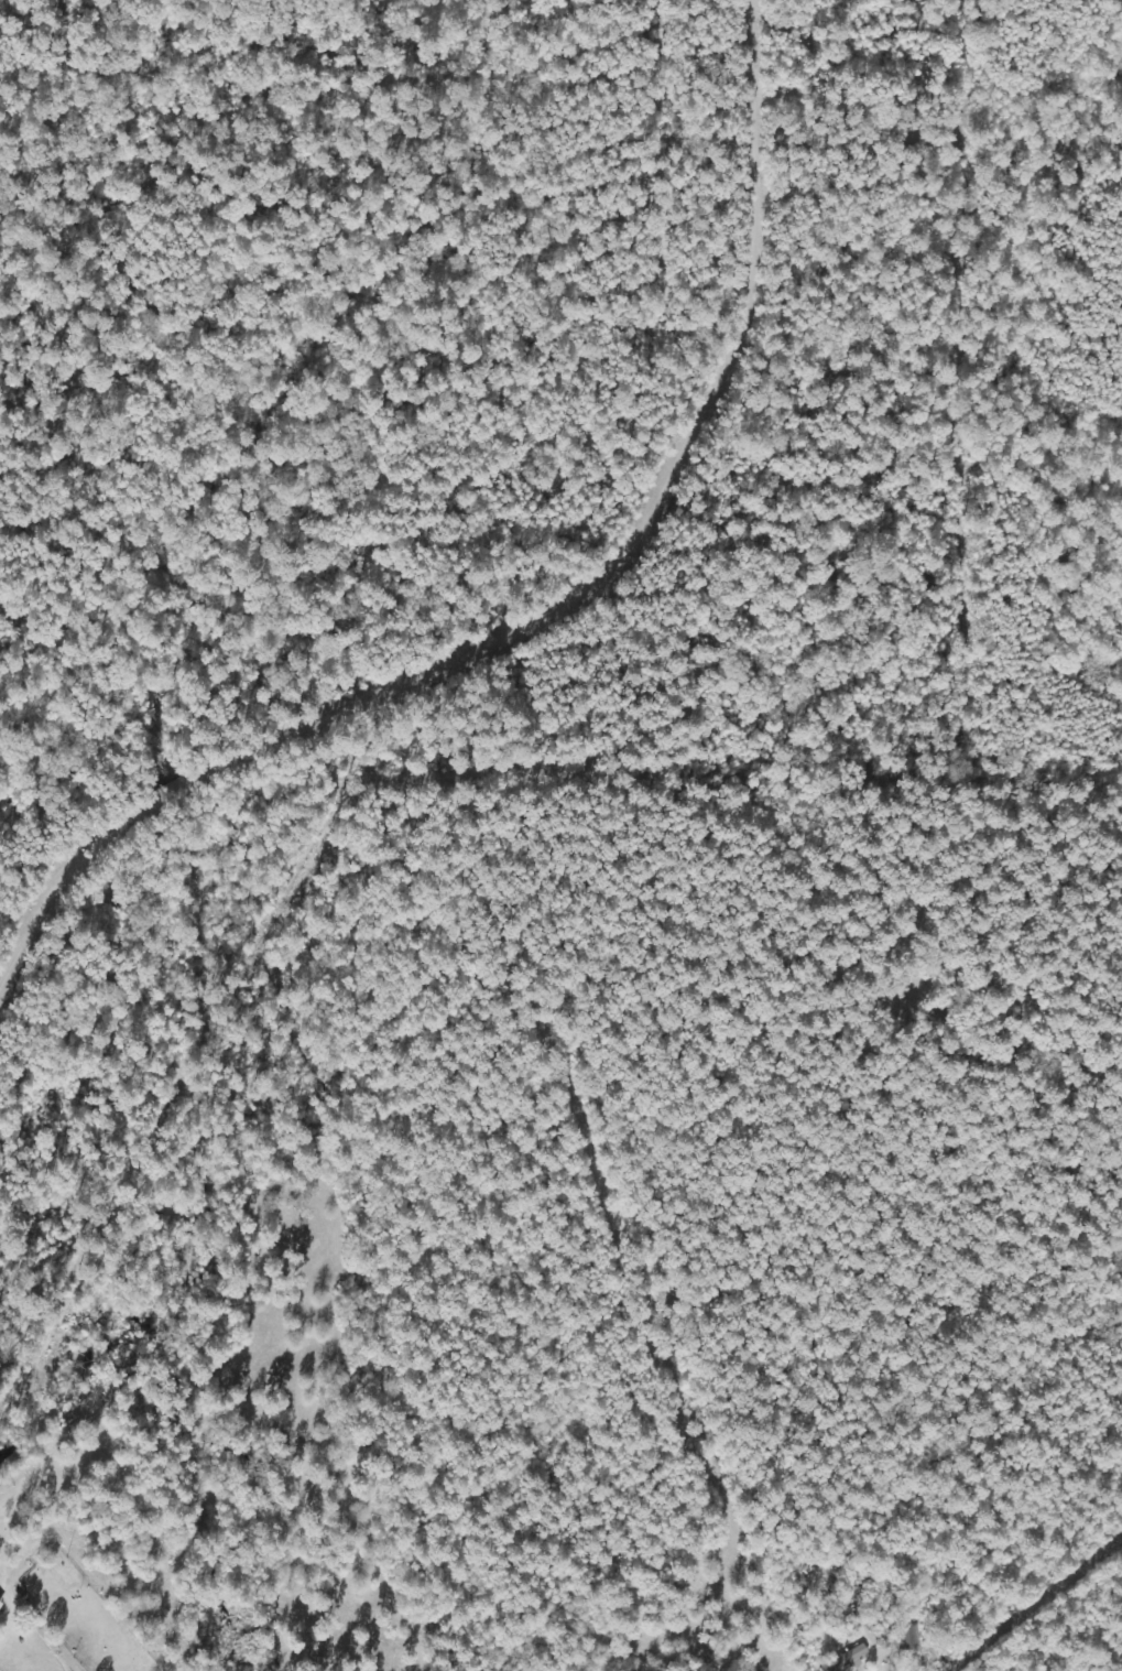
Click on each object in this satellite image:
road: (524, 595)
road: (1031, 1612)
building: (911, 1639)
building: (849, 1660)

